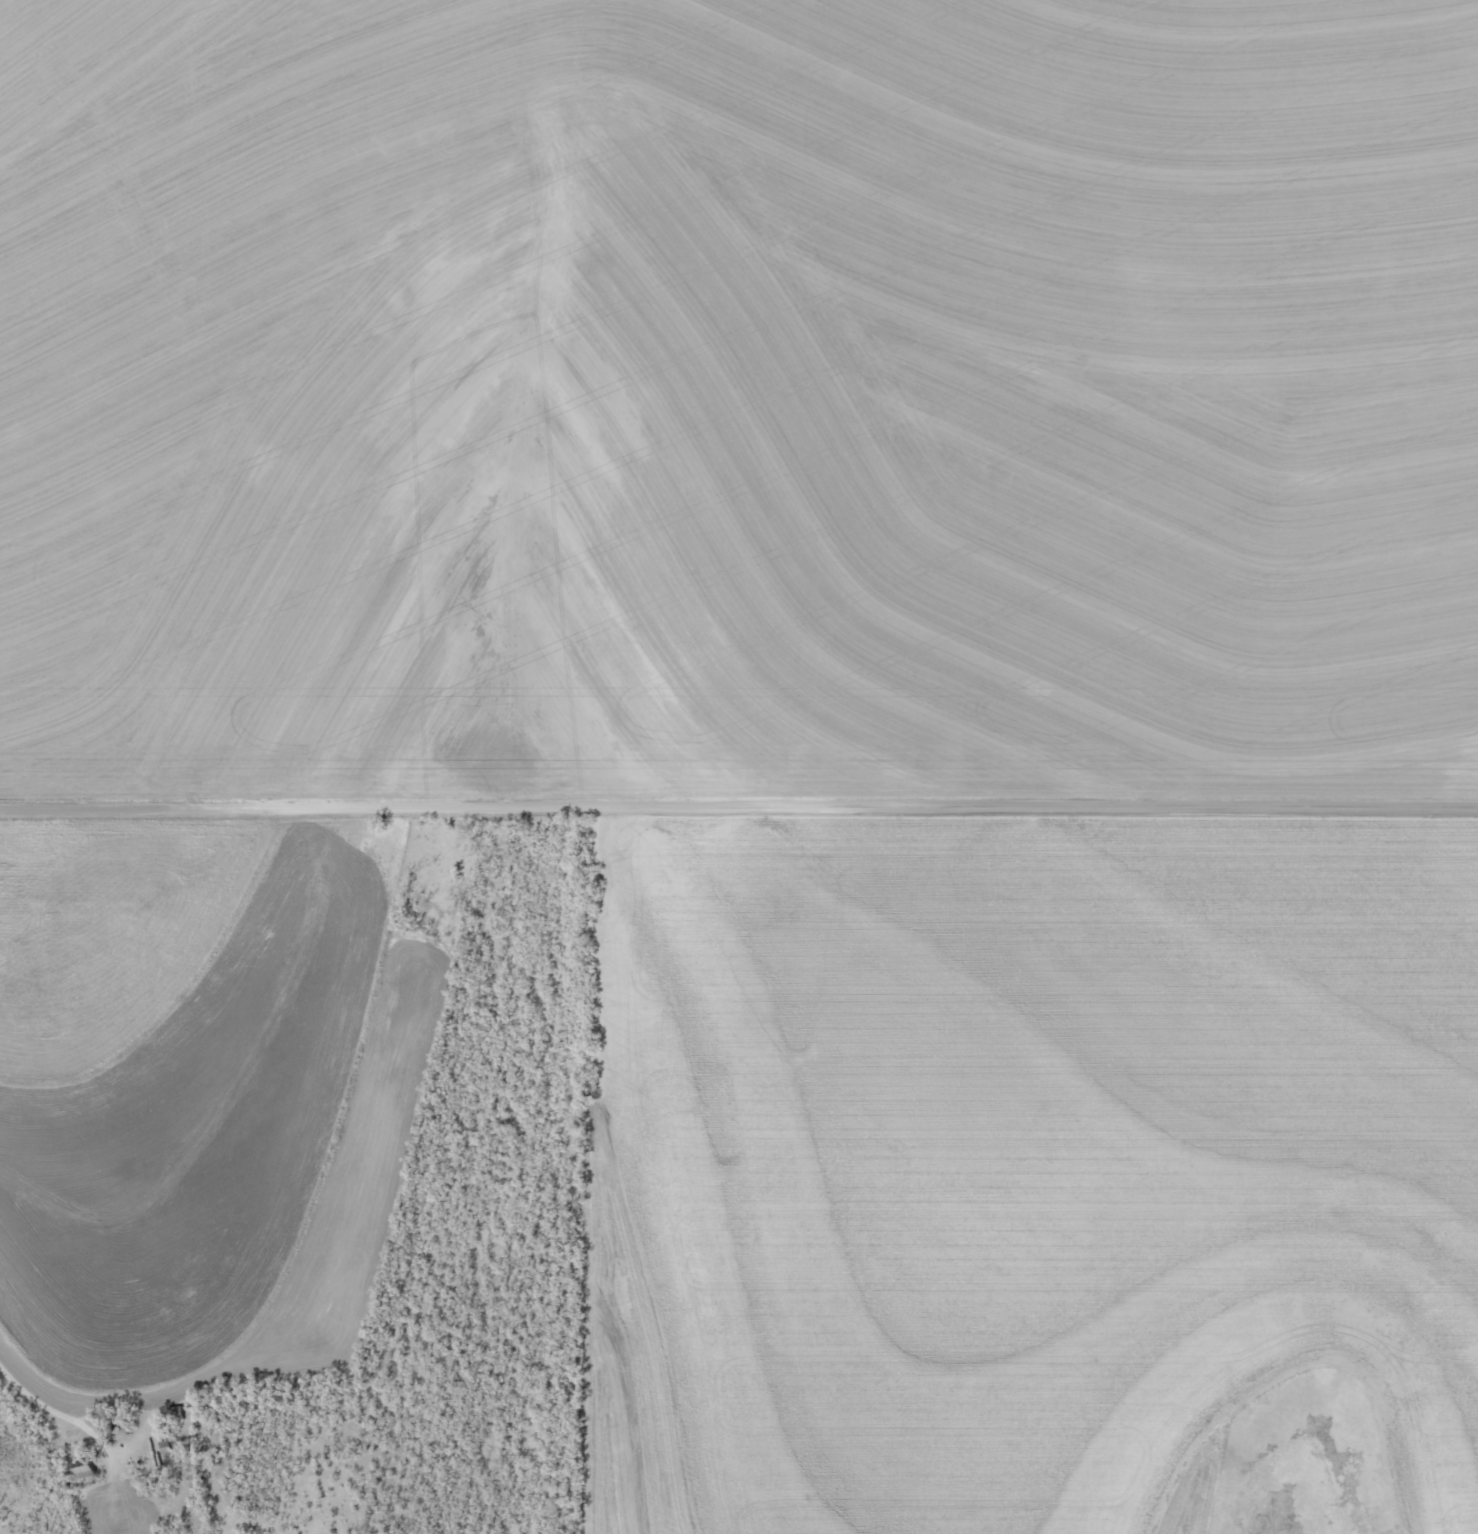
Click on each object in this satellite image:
road: (738, 793)

